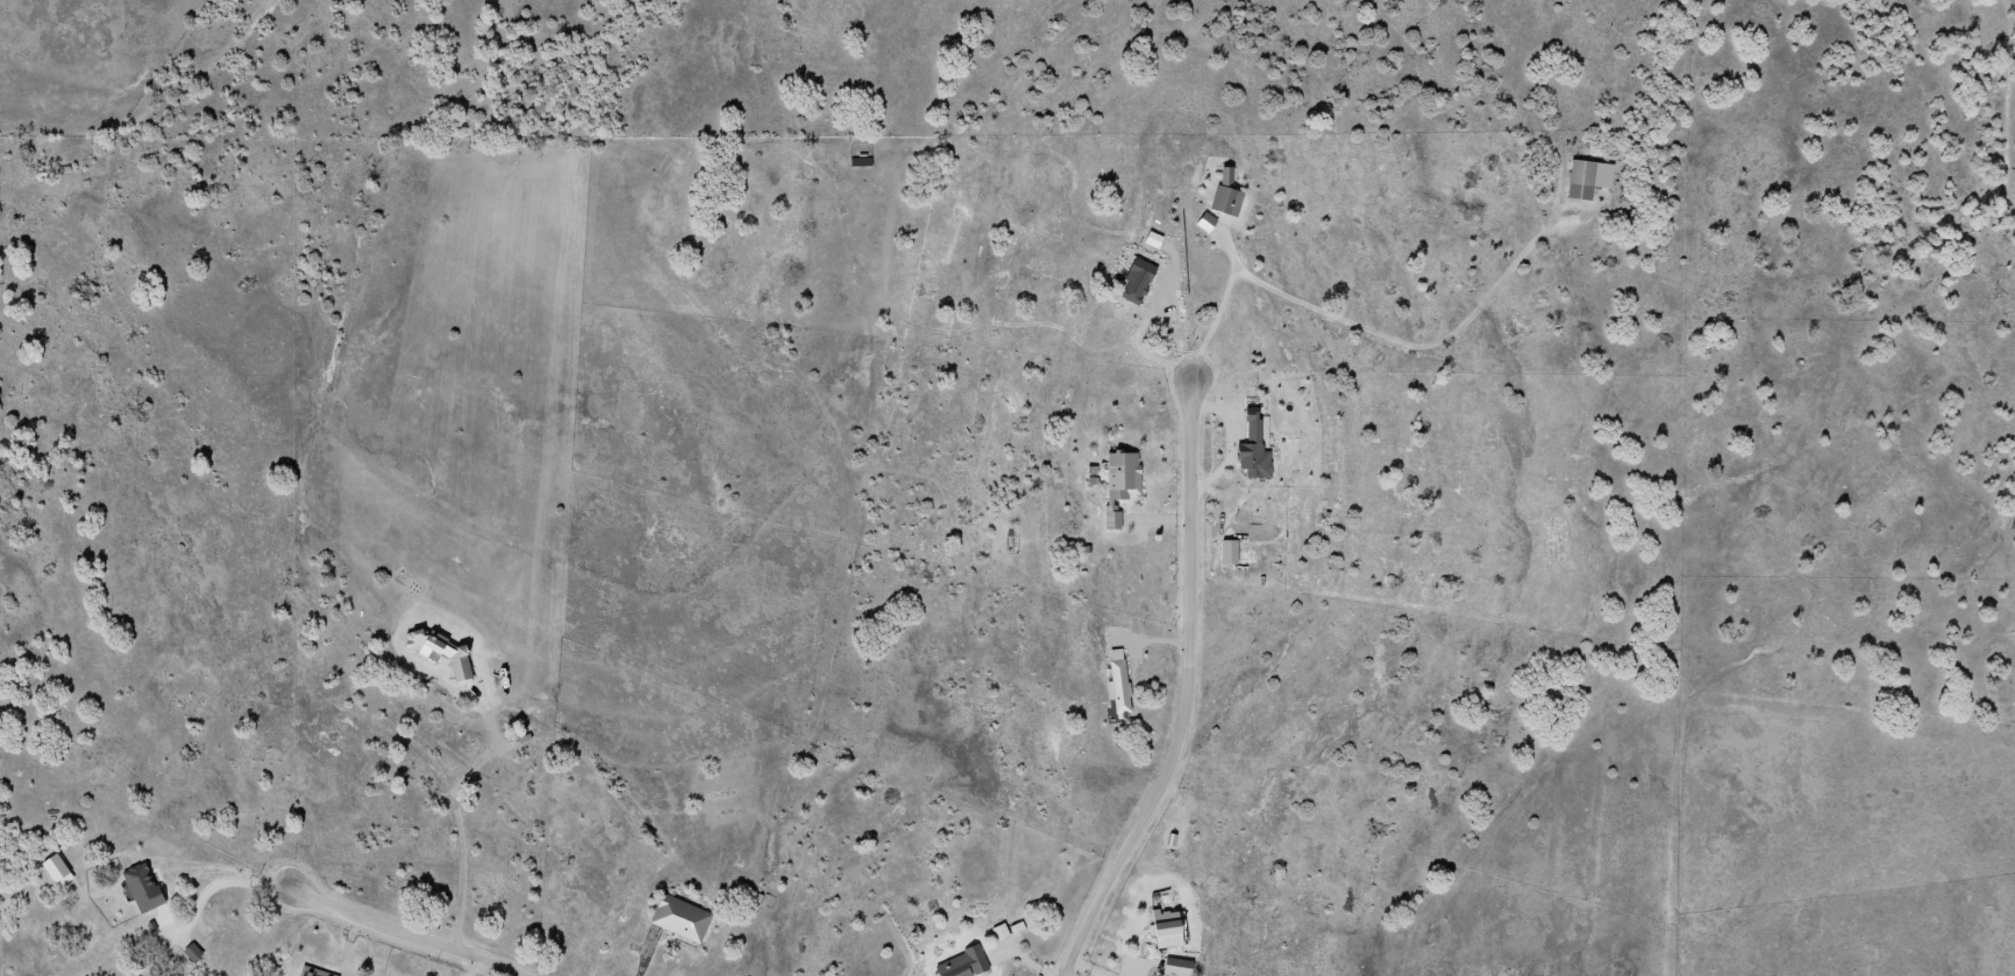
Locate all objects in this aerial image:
building: (1587, 181)
building: (1225, 196)
road: (1222, 310)
road: (1178, 337)
building: (1119, 484)
building: (447, 656)
road: (1186, 691)
road: (94, 840)
building: (143, 890)
building: (681, 920)
building: (1162, 930)
building: (1000, 934)
road: (402, 935)
building: (963, 965)
building: (1175, 968)
building: (313, 973)

